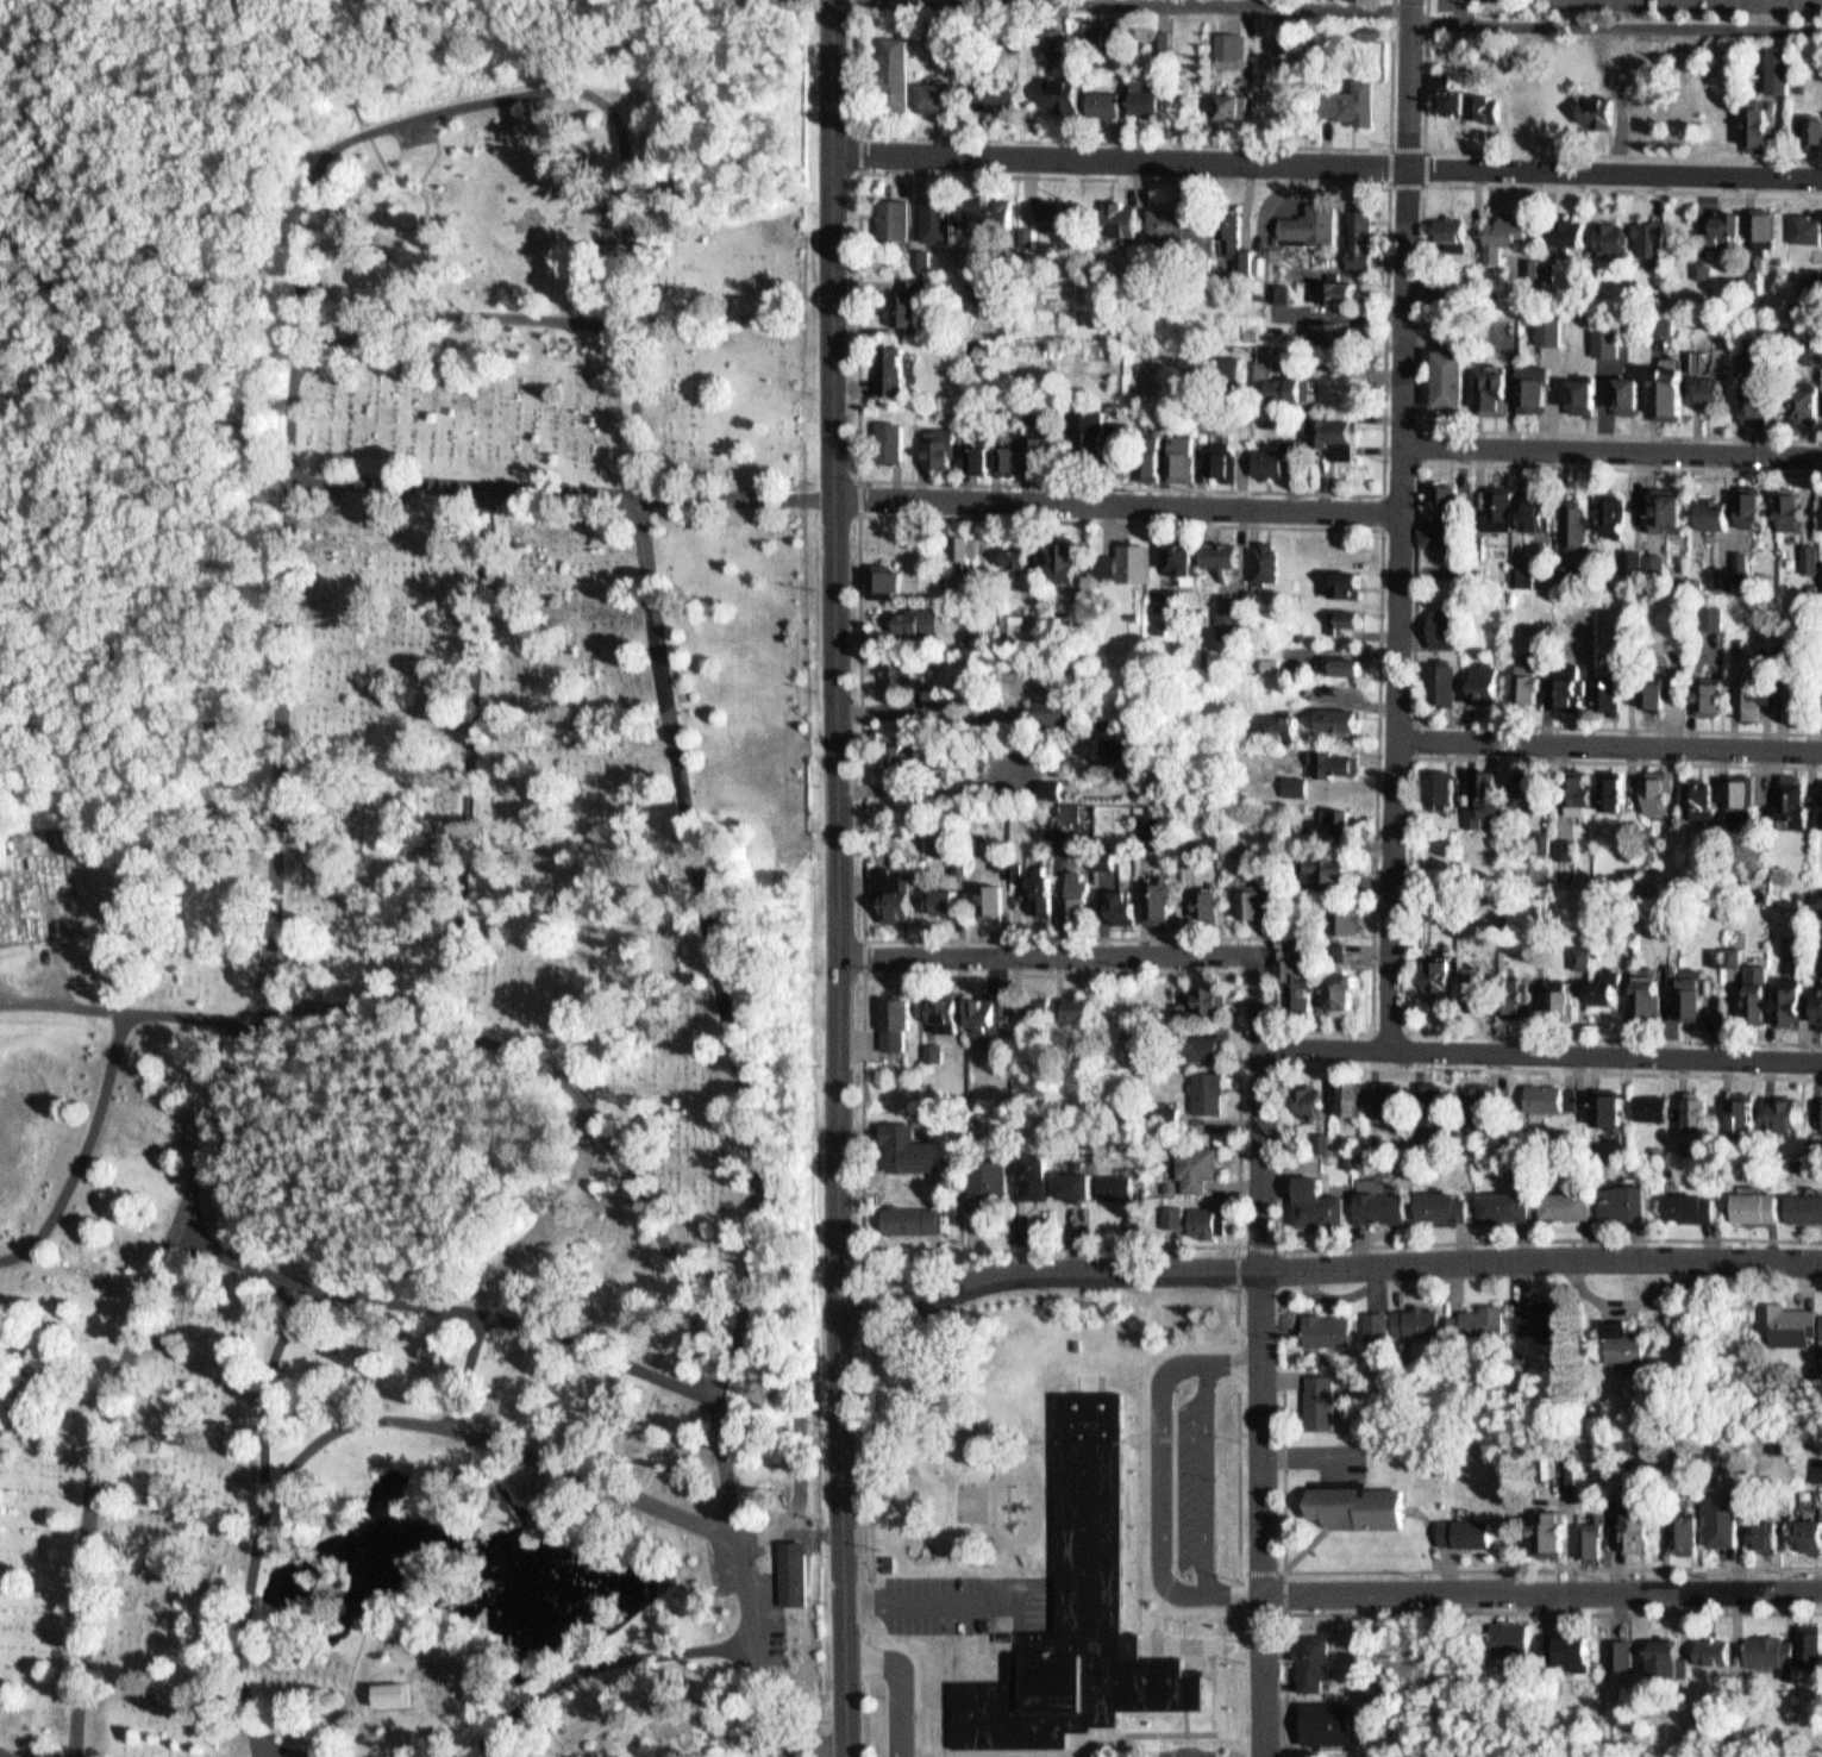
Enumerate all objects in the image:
parking lot: (1451, 7)
parking lot: (1692, 8)
road: (1329, 19)
building: (952, 33)
building: (1082, 33)
building: (1058, 35)
building: (1101, 37)
building: (1120, 39)
building: (1160, 42)
building: (1229, 46)
building: (1645, 52)
building: (1222, 58)
building: (1613, 61)
building: (1640, 67)
building: (1782, 68)
road: (302, 70)
building: (896, 70)
road: (139, 77)
building: (1773, 87)
building: (1001, 89)
building: (1065, 92)
building: (1436, 92)
building: (939, 93)
road: (495, 96)
building: (1150, 96)
building: (1106, 101)
building: (1488, 107)
building: (1599, 111)
building: (1345, 113)
building: (1444, 115)
building: (1478, 121)
building: (1227, 123)
building: (1762, 126)
building: (1815, 126)
building: (1592, 130)
building: (1751, 131)
road: (1132, 142)
building: (1810, 146)
road: (862, 152)
road: (1547, 154)
road: (1328, 165)
road: (1422, 185)
building: (995, 212)
building: (1062, 214)
building: (1126, 219)
building: (979, 224)
building: (1765, 224)
building: (1360, 226)
building: (1807, 226)
building: (1452, 229)
building: (1572, 231)
building: (1115, 232)
building: (891, 233)
building: (1057, 233)
building: (1173, 233)
building: (935, 236)
building: (1613, 237)
building: (1652, 237)
building: (1309, 239)
building: (1722, 239)
building: (1757, 240)
building: (1444, 243)
building: (1799, 243)
building: (1235, 246)
building: (1498, 246)
building: (1564, 248)
building: (1023, 250)
building: (1605, 250)
building: (1646, 254)
road: (177, 265)
building: (915, 274)
building: (1698, 283)
building: (1447, 289)
building: (1279, 292)
building: (1345, 292)
building: (1748, 292)
building: (1810, 296)
building: (1442, 306)
road: (463, 314)
road: (1419, 315)
building: (906, 318)
building: (1451, 326)
building: (1553, 329)
building: (1336, 332)
building: (1442, 342)
building: (1609, 342)
road: (57, 344)
building: (1264, 345)
building: (1546, 345)
building: (1327, 349)
building: (1603, 355)
building: (1809, 363)
building: (1743, 367)
building: (896, 368)
building: (1453, 377)
building: (1696, 379)
building: (1279, 384)
building: (889, 386)
building: (1538, 387)
building: (1717, 389)
building: (1633, 390)
building: (1676, 392)
building: (1444, 394)
building: (1588, 394)
building: (1810, 401)
building: (1488, 402)
building: (1528, 402)
building: (1708, 404)
building: (1761, 404)
building: (1282, 405)
building: (1665, 406)
building: (1623, 408)
building: (1578, 409)
building: (1802, 418)
building: (1751, 420)
building: (1092, 429)
building: (896, 438)
road: (1417, 440)
building: (1332, 445)
building: (1083, 451)
building: (1041, 454)
building: (887, 455)
building: (1223, 455)
building: (982, 457)
building: (1013, 458)
building: (1277, 458)
road: (1611, 462)
building: (937, 465)
building: (1032, 468)
building: (1271, 471)
building: (1177, 473)
building: (1004, 474)
building: (975, 475)
building: (1214, 477)
road: (551, 494)
road: (1380, 505)
building: (1797, 505)
building: (1673, 506)
building: (1755, 506)
building: (1502, 508)
road: (860, 511)
building: (1538, 511)
building: (1716, 512)
building: (1617, 514)
road: (1119, 518)
building: (1745, 523)
road: (1401, 524)
building: (1579, 525)
building: (1661, 526)
building: (1440, 529)
building: (1528, 529)
building: (1707, 529)
building: (1784, 529)
road: (174, 530)
building: (1492, 530)
building: (1609, 530)
road: (1382, 542)
building: (1571, 545)
building: (965, 550)
building: (1427, 552)
building: (1223, 554)
building: (1067, 559)
building: (1269, 559)
building: (958, 567)
building: (1057, 570)
building: (1213, 570)
building: (883, 573)
building: (1008, 574)
building: (1629, 574)
building: (1803, 574)
building: (1126, 575)
building: (1567, 575)
building: (1651, 575)
building: (1736, 575)
building: (1100, 577)
building: (1258, 577)
building: (1524, 577)
building: (1352, 581)
building: (1516, 589)
building: (1561, 589)
building: (1160, 590)
building: (1820, 590)
building: (1341, 598)
building: (1128, 609)
road: (1414, 609)
building: (914, 615)
building: (1346, 615)
building: (1010, 618)
road: (1379, 619)
building: (1156, 620)
building: (1228, 623)
building: (1445, 626)
building: (1707, 631)
building: (1340, 632)
building: (965, 634)
building: (1222, 638)
building: (1438, 643)
building: (1541, 645)
building: (1538, 659)
building: (896, 664)
building: (1344, 665)
building: (1338, 680)
road: (7, 682)
building: (1489, 682)
building: (1533, 683)
building: (1446, 684)
building: (937, 690)
building: (1615, 692)
building: (1657, 693)
building: (1435, 698)
building: (1479, 698)
building: (1754, 698)
building: (1523, 699)
building: (1603, 705)
building: (1052, 706)
building: (1564, 707)
building: (1647, 709)
building: (1704, 712)
building: (1821, 712)
building: (1748, 713)
building: (1791, 714)
building: (1340, 719)
building: (1285, 726)
building: (1332, 732)
road: (1408, 734)
building: (1108, 742)
building: (1125, 746)
building: (904, 755)
road: (1608, 758)
road: (464, 762)
building: (1335, 762)
building: (891, 769)
building: (1332, 777)
building: (1048, 781)
building: (1445, 787)
building: (1532, 790)
building: (1617, 792)
building: (1661, 793)
building: (1582, 794)
building: (1741, 796)
building: (1486, 799)
building: (1701, 799)
building: (1289, 800)
building: (1796, 801)
building: (1147, 820)
building: (1340, 824)
building: (1334, 839)
building: (1565, 848)
building: (1102, 852)
building: (957, 859)
building: (1012, 863)
building: (1338, 867)
road: (839, 878)
building: (888, 883)
building: (1275, 883)
building: (1040, 884)
building: (1319, 887)
building: (1073, 890)
building: (987, 893)
building: (941, 894)
building: (1156, 895)
building: (1247, 896)
building: (1119, 899)
building: (1204, 899)
road: (1407, 901)
building: (1351, 918)
building: (1338, 932)
road: (1051, 955)
building: (1726, 955)
building: (1582, 956)
road: (862, 957)
building: (1295, 961)
road: (728, 968)
building: (1444, 977)
building: (1307, 982)
building: (1610, 984)
building: (1347, 989)
building: (1482, 989)
road: (301, 990)
building: (1759, 992)
building: (1696, 993)
park: (467, 994)
building: (1195, 994)
building: (1649, 994)
building: (1213, 998)
building: (1298, 998)
building: (1032, 999)
building: (1565, 999)
building: (1793, 999)
building: (1072, 1000)
building: (1516, 1000)
building: (987, 1007)
building: (1336, 1007)
building: (941, 1008)
building: (1039, 1011)
building: (890, 1013)
road: (1371, 1031)
building: (1200, 1039)
building: (928, 1044)
road: (1283, 1045)
building: (933, 1051)
road: (1542, 1051)
building: (1206, 1086)
building: (1351, 1096)
building: (1555, 1098)
building: (1394, 1099)
building: (1311, 1100)
building: (1482, 1101)
building: (1652, 1108)
building: (1440, 1109)
building: (1698, 1109)
building: (1610, 1111)
building: (1163, 1112)
building: (1786, 1112)
building: (1745, 1113)
building: (1821, 1113)
road: (218, 1124)
building: (901, 1140)
road: (609, 1143)
road: (90, 1155)
road: (1282, 1155)
building: (1191, 1158)
building: (1032, 1169)
building: (984, 1177)
building: (1071, 1177)
building: (1110, 1178)
building: (1084, 1184)
building: (1629, 1201)
building: (1385, 1203)
building: (1570, 1203)
building: (1322, 1205)
building: (1445, 1205)
building: (1507, 1205)
building: (1695, 1206)
building: (1759, 1206)
building: (1807, 1206)
building: (1195, 1213)
building: (906, 1219)
road: (1219, 1245)
road: (1240, 1245)
road: (1329, 1264)
road: (1755, 1284)
road: (440, 1303)
road: (865, 1306)
building: (1546, 1319)
building: (1482, 1321)
building: (1425, 1324)
building: (1790, 1325)
building: (1380, 1326)
building: (1333, 1330)
building: (1630, 1345)
building: (436, 1352)
road: (1264, 1355)
road: (458, 1370)
building: (1325, 1401)
road: (302, 1411)
road: (490, 1445)
road: (1142, 1453)
building: (1818, 1468)
road: (1160, 1470)
building: (1361, 1505)
building: (1726, 1518)
road: (264, 1520)
road: (1241, 1521)
building: (1640, 1531)
building: (1466, 1532)
building: (1553, 1533)
building: (1599, 1533)
building: (1684, 1533)
building: (1767, 1534)
building: (1811, 1534)
road: (866, 1543)
building: (791, 1567)
road: (1463, 1568)
road: (1282, 1572)
road: (1154, 1586)
road: (1544, 1590)
road: (1190, 1600)
building: (1082, 1611)
road: (1482, 1612)
building: (1514, 1639)
building: (1808, 1642)
road: (1175, 1646)
building: (1716, 1651)
building: (1772, 1651)
building: (1569, 1652)
road: (702, 1653)
building: (1621, 1653)
building: (1668, 1659)
building: (1317, 1662)
road: (1221, 1671)
road: (566, 1684)
building: (390, 1686)
building: (1333, 1721)
road: (1189, 1731)
road: (1154, 1734)
road: (286, 1751)
road: (5, 1753)
road: (457, 1756)
park: (1047, 1756)

